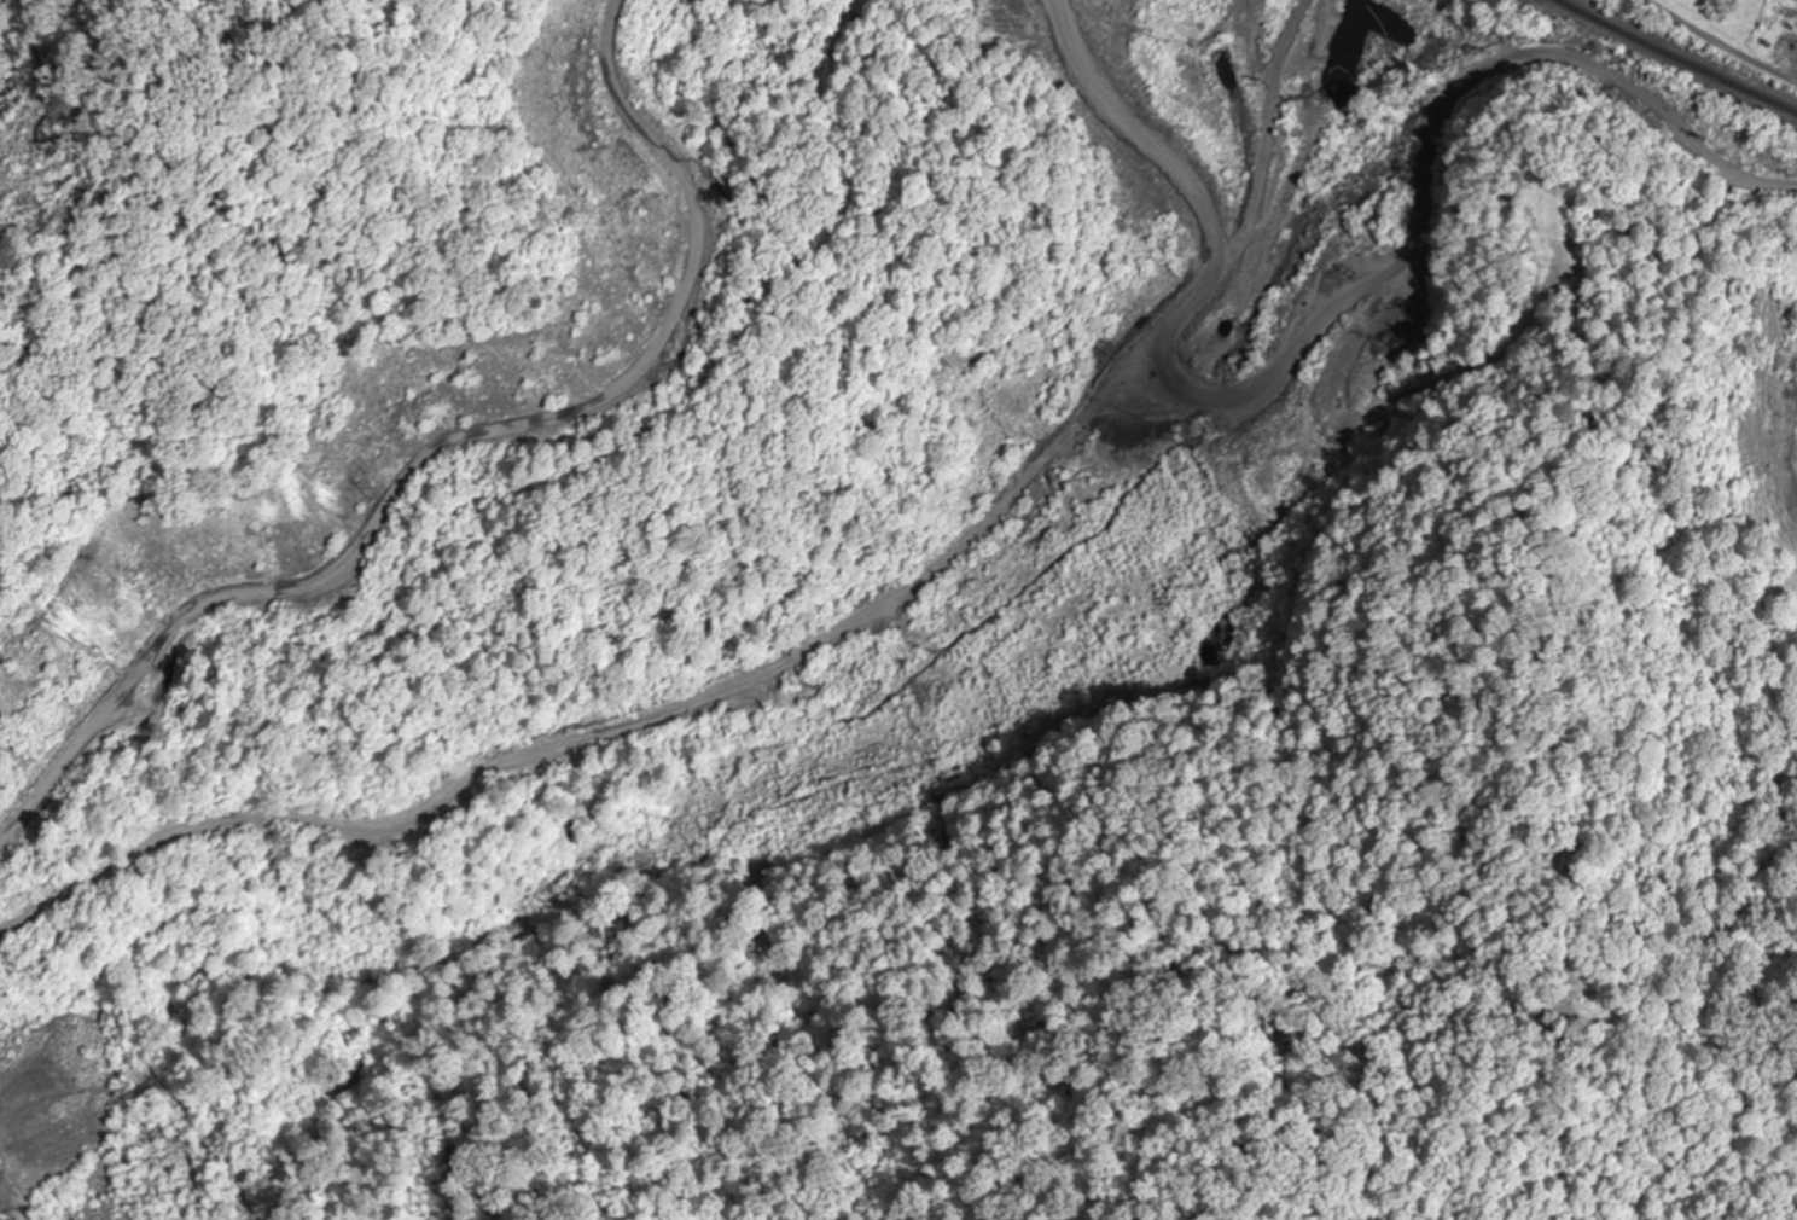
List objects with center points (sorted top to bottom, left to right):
road: (1720, 42)
railway: (1675, 59)

